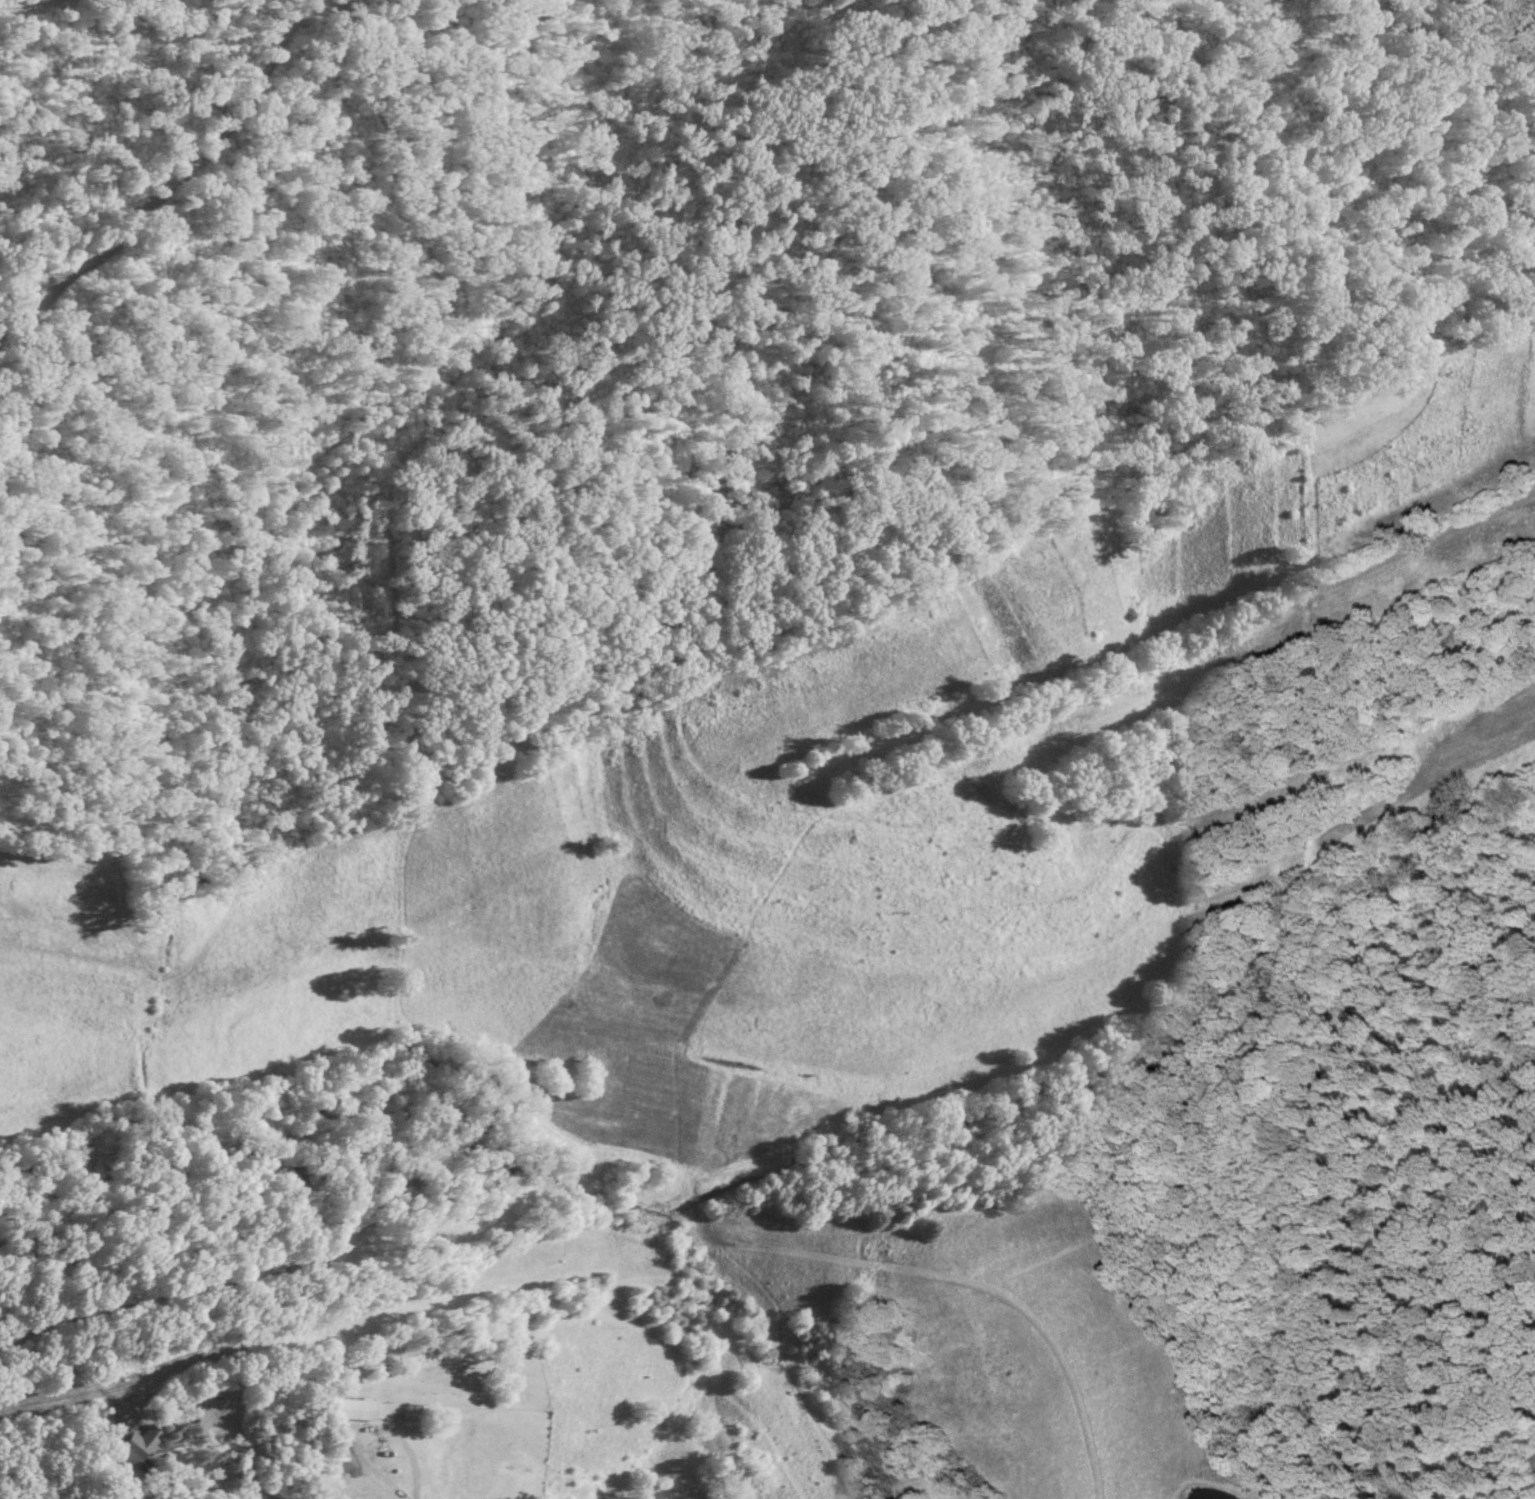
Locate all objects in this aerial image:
building: (351, 1408)
building: (133, 1443)
road: (407, 1468)

